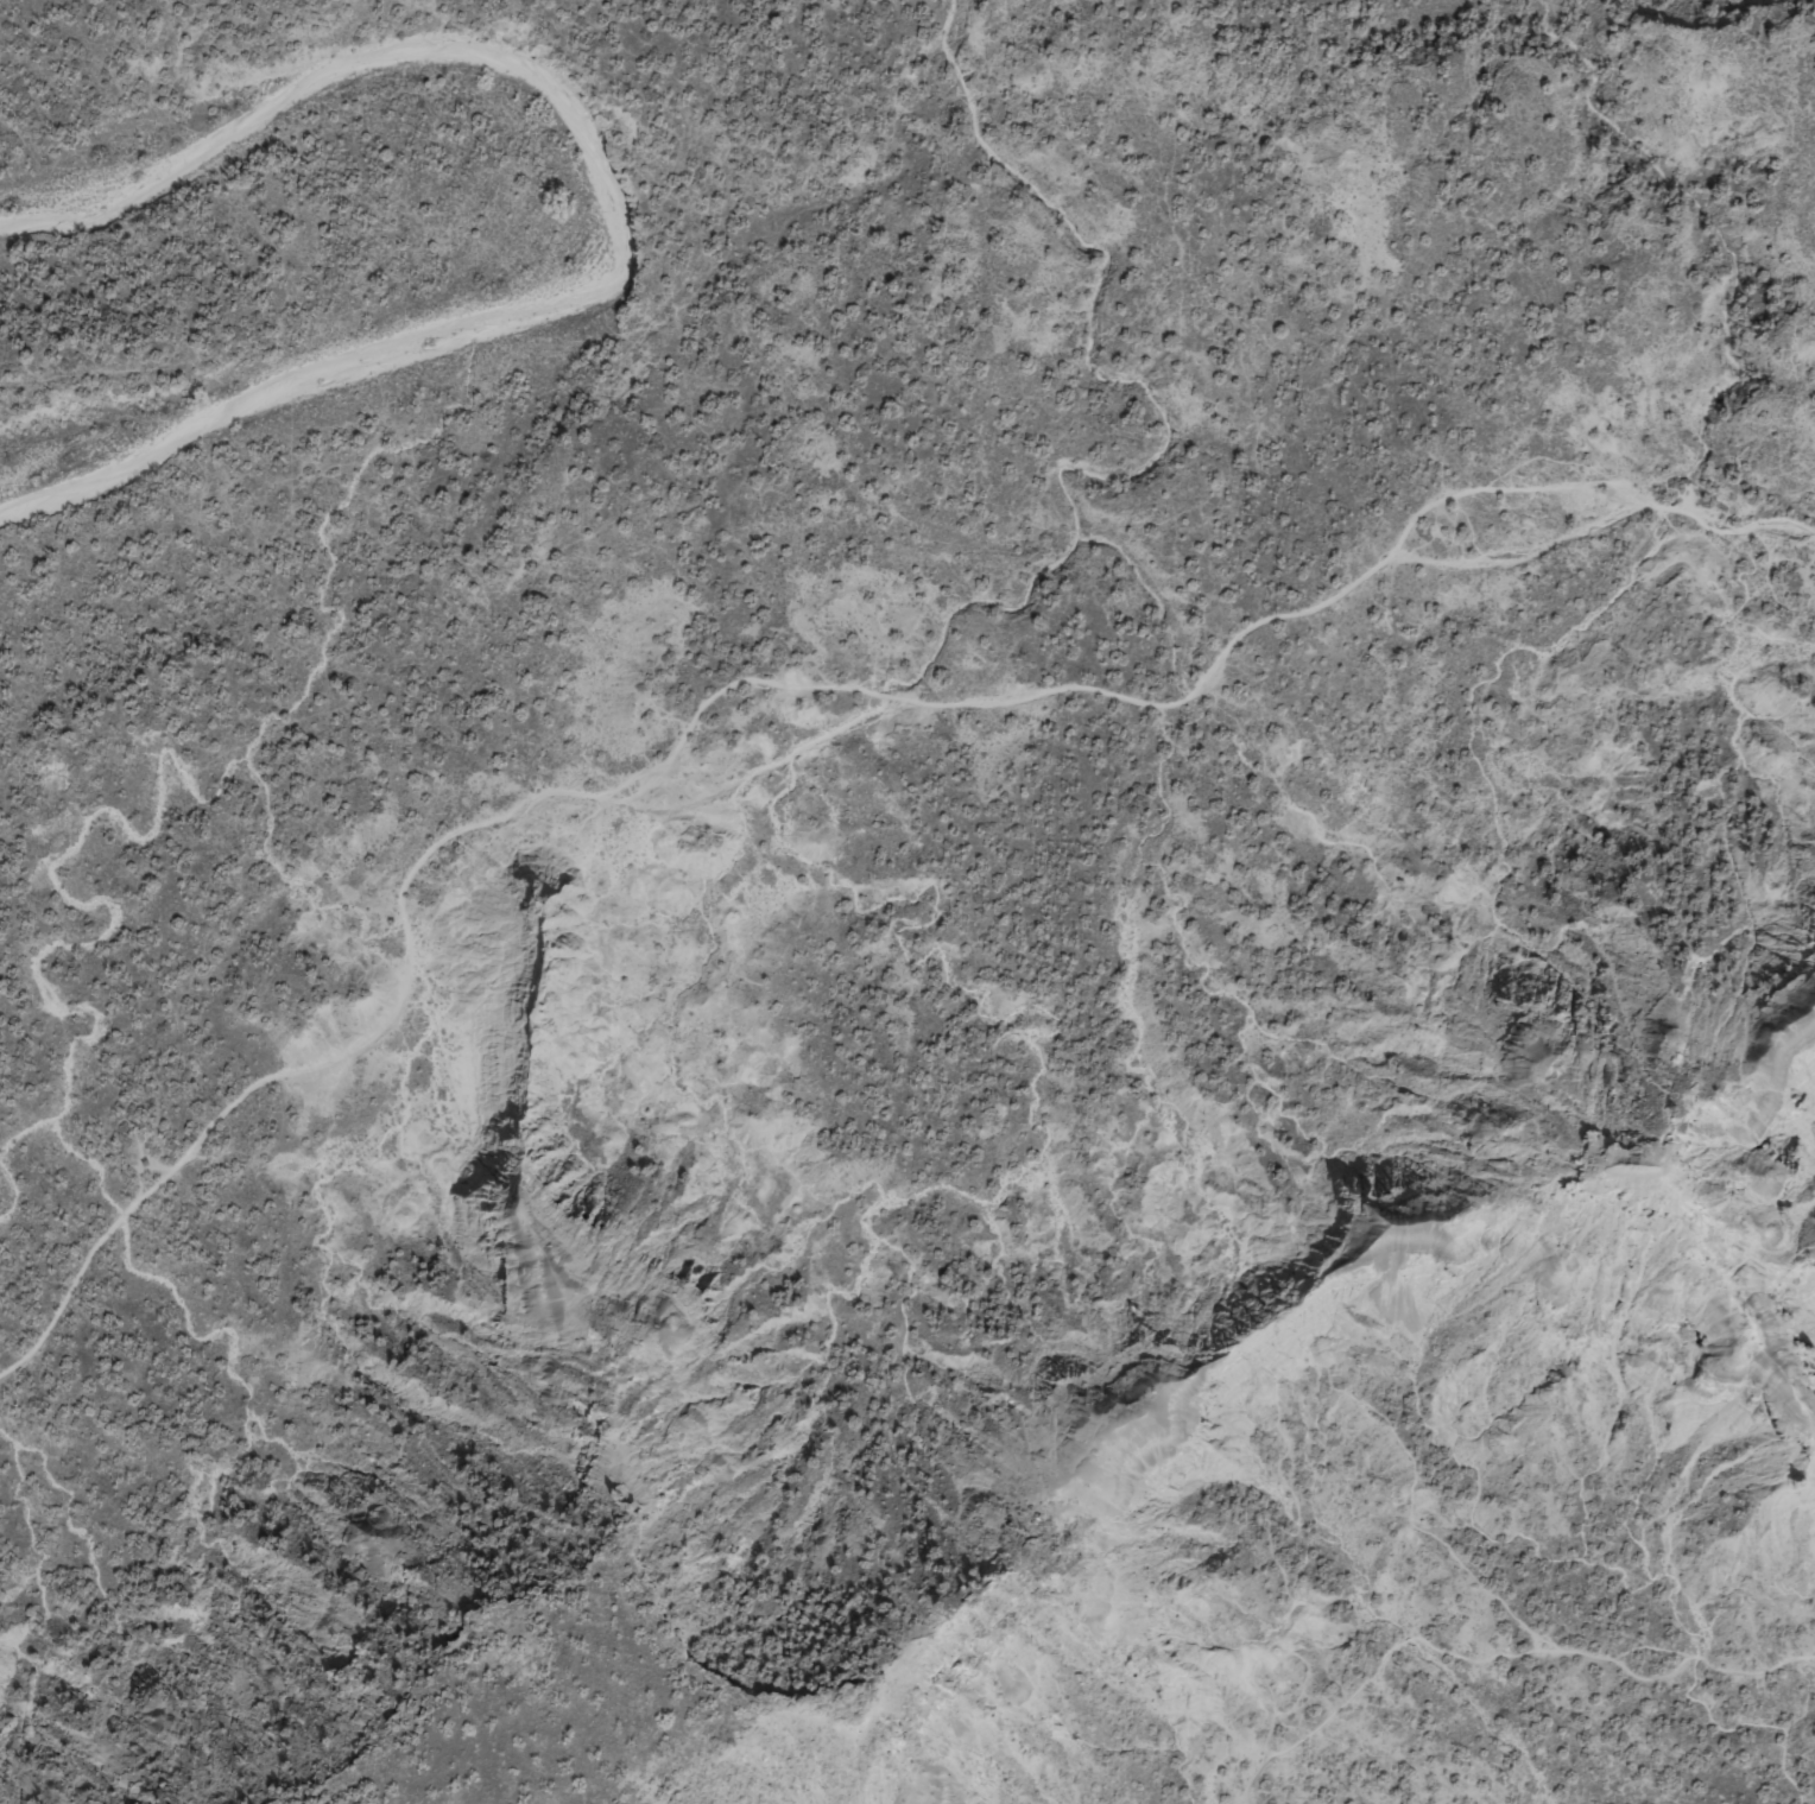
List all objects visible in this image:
road: (766, 675)
road: (1275, 1390)
road: (1494, 1653)

